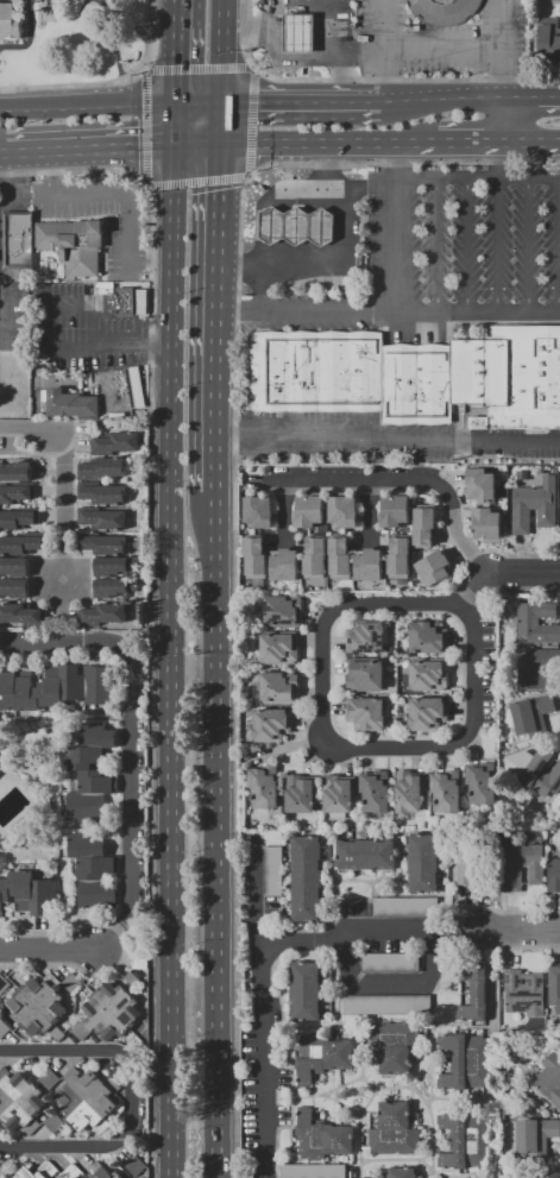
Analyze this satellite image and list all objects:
road: (317, 7)
building: (441, 11)
road: (125, 18)
building: (8, 21)
road: (241, 34)
building: (295, 34)
road: (150, 37)
road: (29, 38)
building: (548, 40)
road: (445, 46)
road: (385, 49)
road: (504, 49)
road: (226, 50)
road: (183, 51)
road: (291, 61)
road: (196, 69)
road: (73, 84)
road: (442, 99)
road: (304, 100)
road: (531, 100)
road: (203, 101)
traffic signals: (226, 101)
road: (90, 102)
traffic signals: (182, 102)
road: (248, 121)
road: (503, 124)
road: (226, 125)
road: (144, 127)
road: (531, 147)
road: (2, 149)
road: (92, 149)
traffic signals: (180, 149)
road: (202, 149)
traffic signals: (226, 149)
road: (294, 149)
road: (397, 149)
road: (467, 149)
road: (502, 164)
road: (52, 170)
road: (75, 170)
road: (195, 179)
road: (477, 179)
road: (327, 182)
road: (122, 194)
building: (292, 226)
gas station: (292, 226)
building: (19, 237)
building: (75, 244)
road: (441, 246)
road: (473, 246)
road: (502, 246)
road: (531, 246)
road: (341, 259)
road: (155, 260)
road: (262, 289)
building: (122, 301)
road: (84, 307)
road: (309, 314)
road: (394, 314)
road: (225, 320)
road: (112, 341)
building: (315, 371)
road: (382, 377)
building: (477, 379)
building: (119, 390)
building: (70, 403)
road: (29, 428)
road: (391, 440)
building: (114, 443)
building: (101, 468)
building: (15, 472)
road: (402, 481)
building: (485, 484)
building: (17, 492)
building: (101, 493)
building: (559, 494)
road: (62, 505)
building: (534, 505)
building: (309, 510)
building: (395, 510)
building: (257, 511)
building: (342, 511)
building: (18, 518)
building: (102, 518)
building: (487, 525)
building: (424, 527)
building: (20, 543)
building: (101, 543)
building: (315, 557)
building: (339, 557)
building: (254, 559)
building: (399, 561)
building: (284, 565)
building: (370, 565)
building: (13, 567)
building: (109, 567)
building: (434, 567)
road: (505, 575)
building: (15, 587)
building: (109, 587)
building: (281, 612)
building: (19, 613)
building: (105, 613)
building: (536, 622)
road: (322, 630)
building: (365, 635)
building: (427, 636)
road: (177, 640)
building: (278, 649)
building: (536, 669)
building: (365, 673)
building: (427, 674)
building: (71, 682)
building: (96, 685)
building: (50, 686)
building: (278, 687)
building: (7, 692)
building: (26, 694)
building: (365, 712)
building: (427, 713)
building: (531, 714)
building: (270, 725)
building: (96, 736)
road: (136, 739)
building: (86, 758)
building: (1, 767)
building: (542, 774)
building: (94, 782)
building: (263, 783)
building: (482, 785)
building: (375, 790)
building: (409, 790)
building: (445, 792)
building: (303, 794)
building: (339, 795)
building: (86, 806)
road: (222, 834)
building: (87, 846)
building: (365, 855)
building: (423, 863)
building: (524, 863)
building: (97, 868)
building: (466, 868)
building: (272, 870)
building: (554, 874)
road: (62, 877)
building: (306, 880)
building: (23, 889)
building: (4, 894)
building: (99, 895)
building: (45, 897)
road: (258, 899)
building: (404, 907)
road: (521, 930)
road: (52, 951)
building: (139, 960)
building: (389, 962)
road: (433, 966)
building: (132, 979)
building: (4, 984)
building: (306, 989)
building: (554, 989)
building: (472, 991)
building: (523, 993)
building: (385, 1004)
building: (37, 1008)
building: (111, 1012)
road: (263, 1019)
building: (4, 1028)
building: (394, 1044)
road: (109, 1051)
building: (321, 1056)
building: (465, 1062)
building: (549, 1078)
building: (48, 1079)
building: (86, 1098)
building: (19, 1102)
building: (394, 1130)
building: (534, 1136)
building: (321, 1138)
building: (465, 1140)
road: (59, 1146)
building: (134, 1166)
building: (73, 1171)
building: (102, 1171)
building: (313, 1171)
building: (552, 1172)
building: (2, 1173)
building: (30, 1173)
building: (401, 1173)

